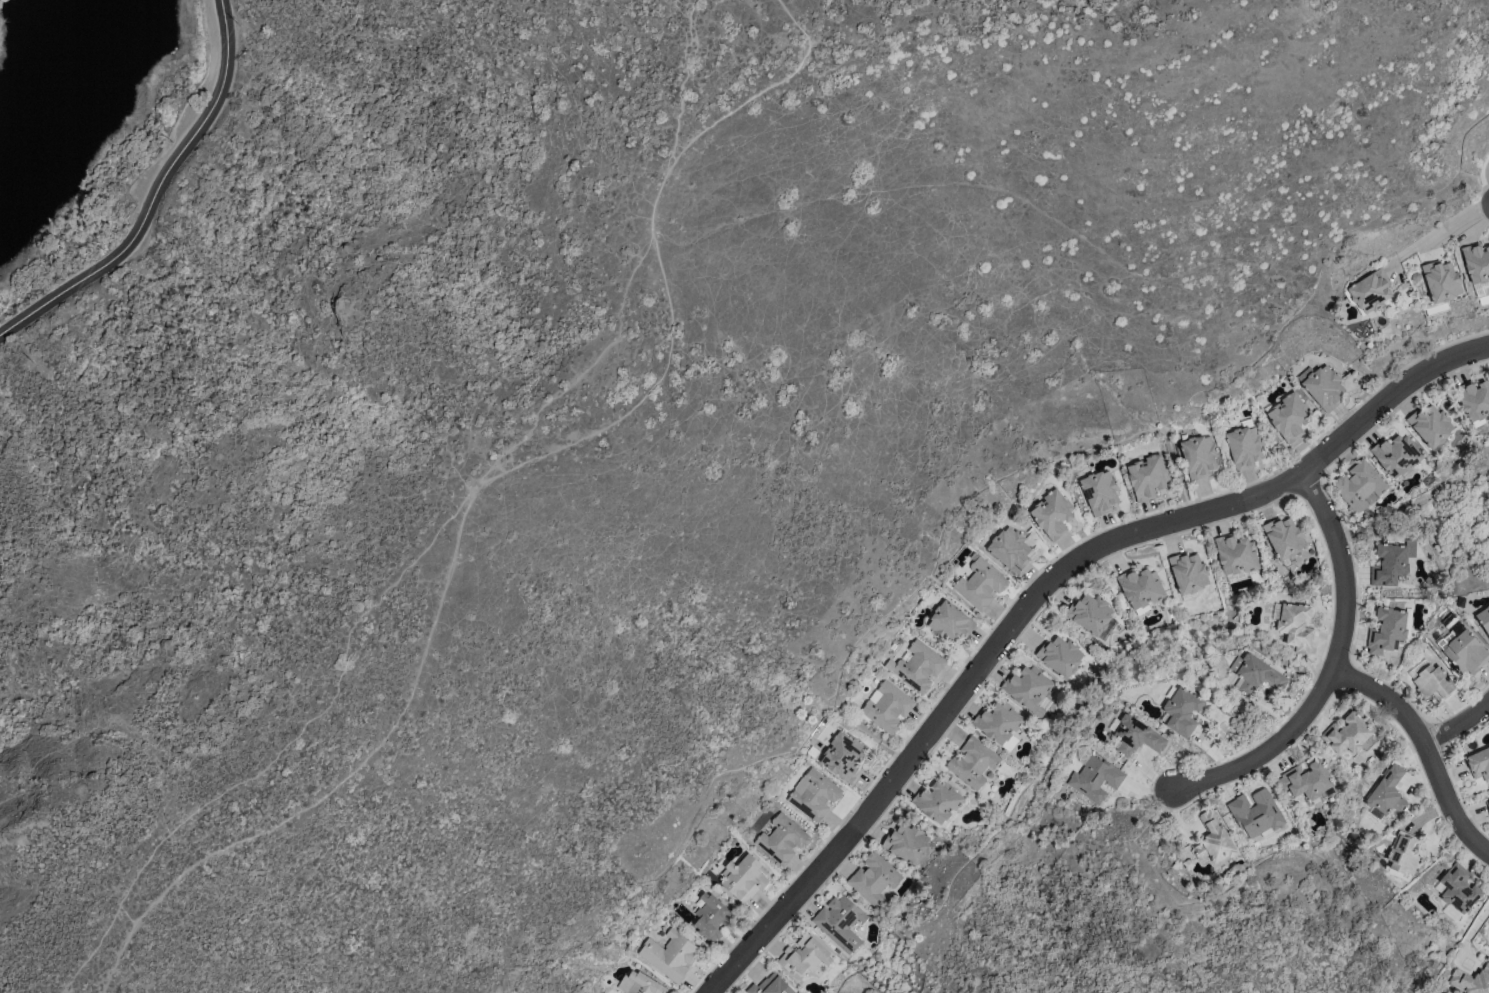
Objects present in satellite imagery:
road: (686, 80)
road: (156, 195)
road: (1443, 229)
building: (1476, 262)
building: (1441, 281)
building: (1370, 291)
building: (1324, 387)
building: (1474, 399)
building: (1289, 416)
building: (1430, 424)
building: (1244, 445)
building: (1396, 454)
building: (1198, 455)
building: (1412, 471)
building: (1147, 476)
road: (487, 480)
building: (1359, 487)
building: (1100, 491)
building: (1052, 514)
building: (1284, 537)
building: (1009, 549)
building: (1236, 554)
building: (1389, 565)
building: (1188, 572)
building: (980, 583)
building: (1140, 588)
road: (1041, 595)
building: (1090, 613)
road: (366, 614)
building: (1484, 618)
building: (949, 622)
building: (1296, 626)
building: (1386, 630)
building: (1465, 652)
building: (1060, 655)
building: (917, 666)
building: (1256, 673)
road: (1337, 674)
building: (1434, 683)
building: (1027, 686)
building: (887, 706)
building: (1182, 711)
building: (998, 721)
road: (1459, 727)
building: (1347, 734)
building: (1136, 736)
road: (1430, 751)
building: (843, 756)
building: (973, 762)
building: (1479, 763)
building: (1095, 778)
building: (1306, 780)
building: (1387, 791)
building: (814, 794)
building: (937, 801)
building: (1488, 807)
building: (1256, 813)
building: (782, 839)
building: (1214, 839)
building: (907, 843)
building: (1404, 854)
building: (743, 878)
building: (874, 878)
building: (1458, 892)
building: (711, 917)
building: (841, 923)
road: (1474, 931)
building: (670, 955)
building: (804, 955)
building: (1471, 980)
building: (643, 984)
building: (771, 986)

